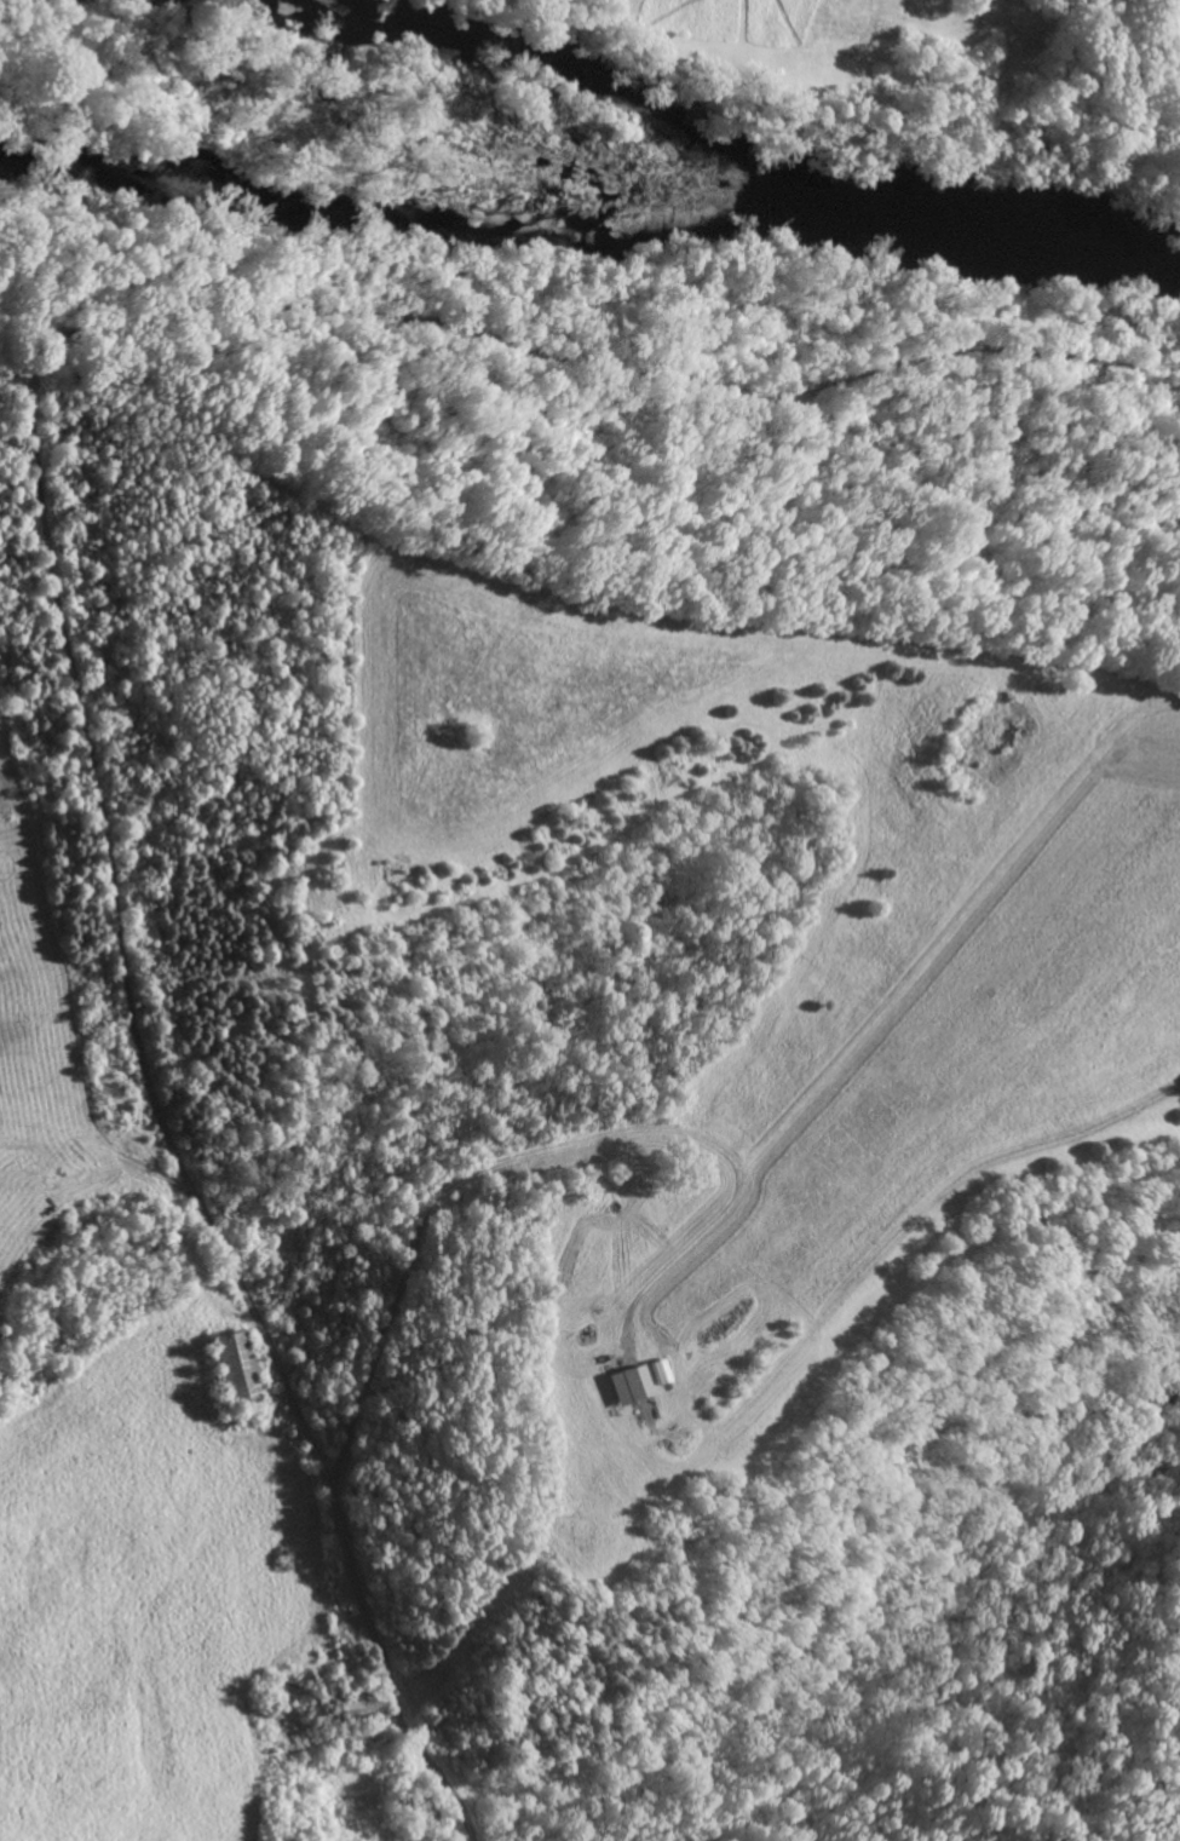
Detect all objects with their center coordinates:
river: (749, 176)
road: (265, 288)
road: (526, 1155)
road: (434, 1339)
building: (234, 1369)
building: (660, 1374)
building: (637, 1383)
building: (617, 1387)
road: (313, 1446)

